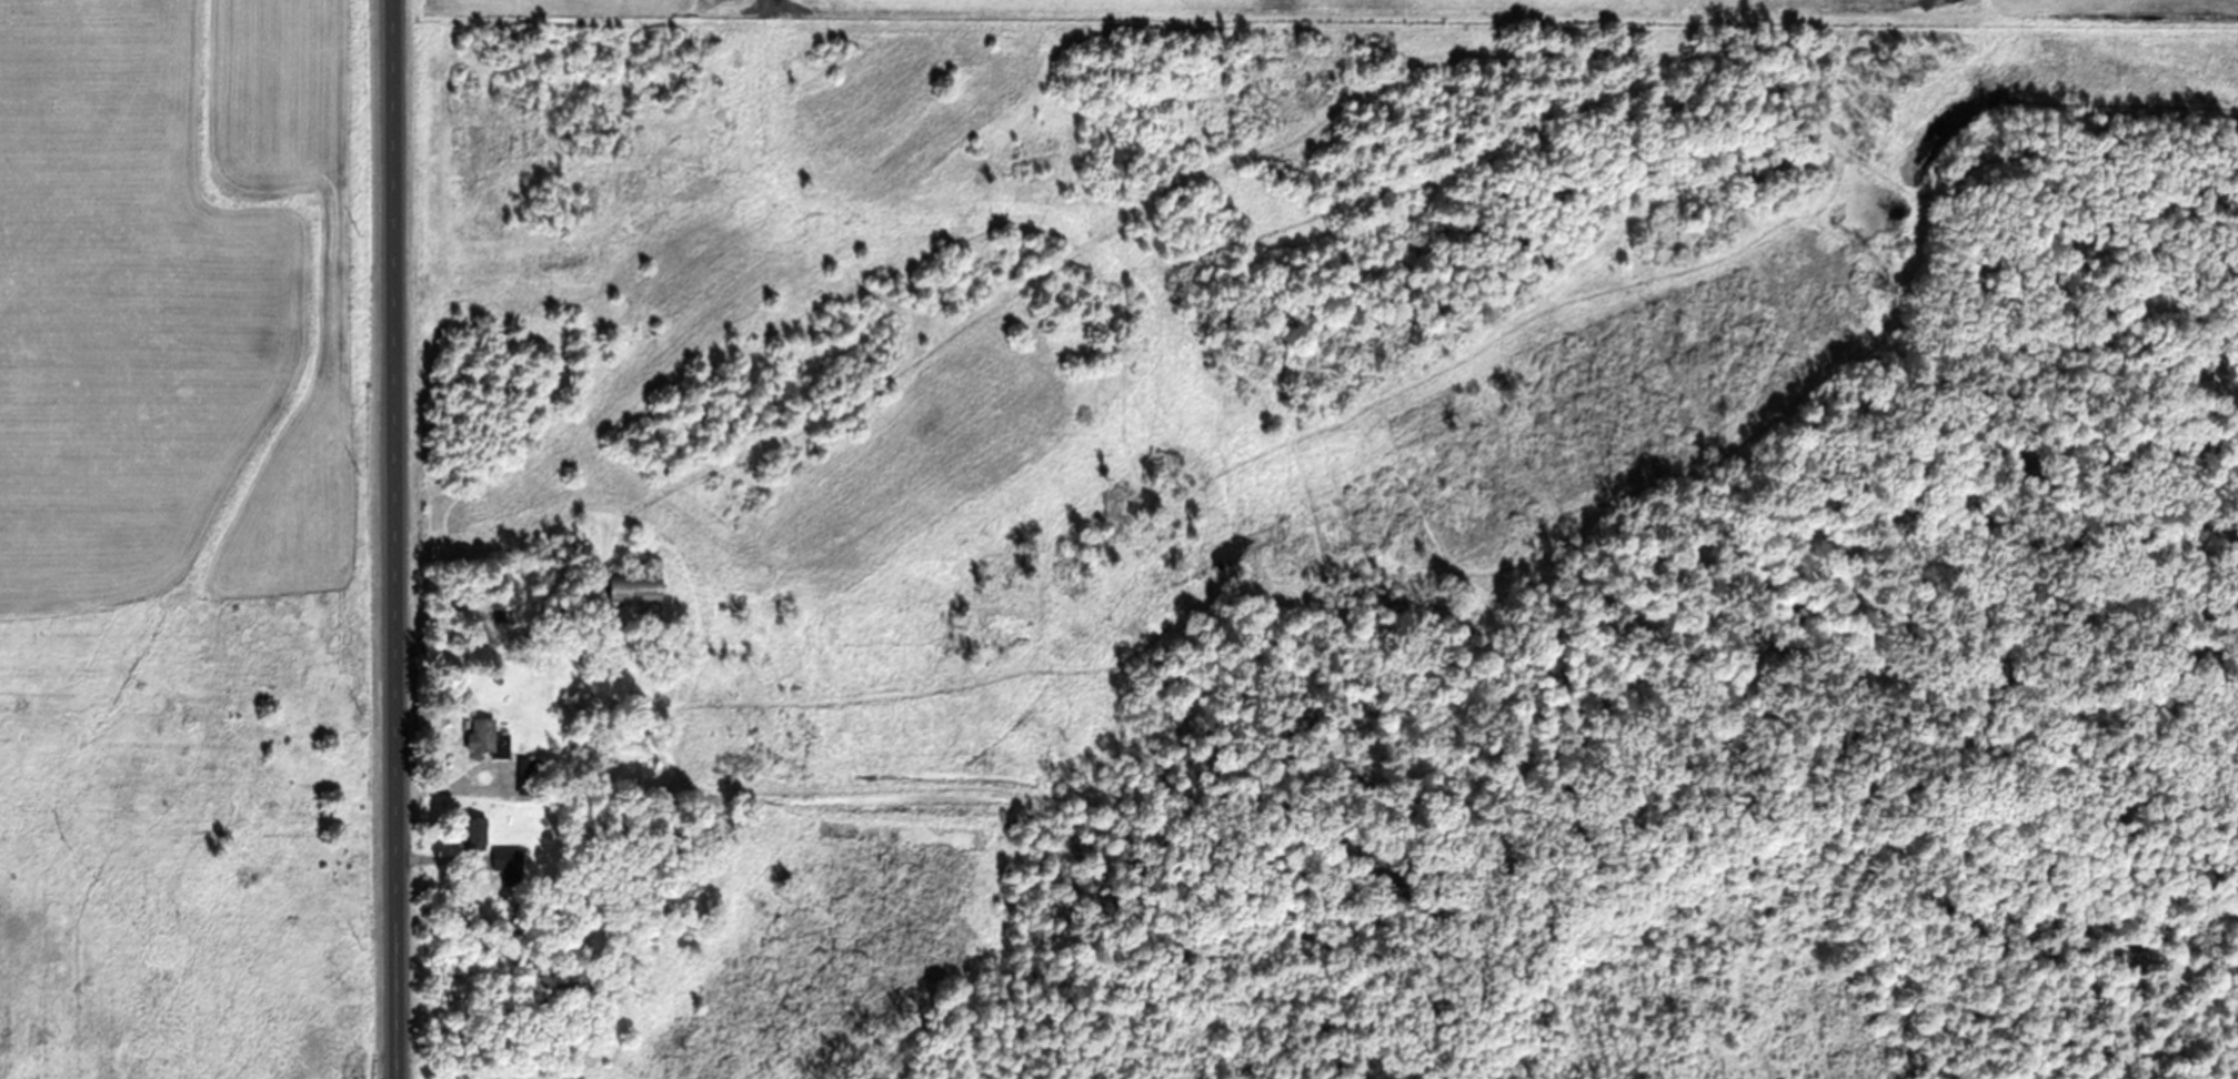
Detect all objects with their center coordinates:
road: (400, 539)
building: (629, 586)
building: (482, 737)
building: (526, 775)
building: (471, 833)
building: (503, 858)

